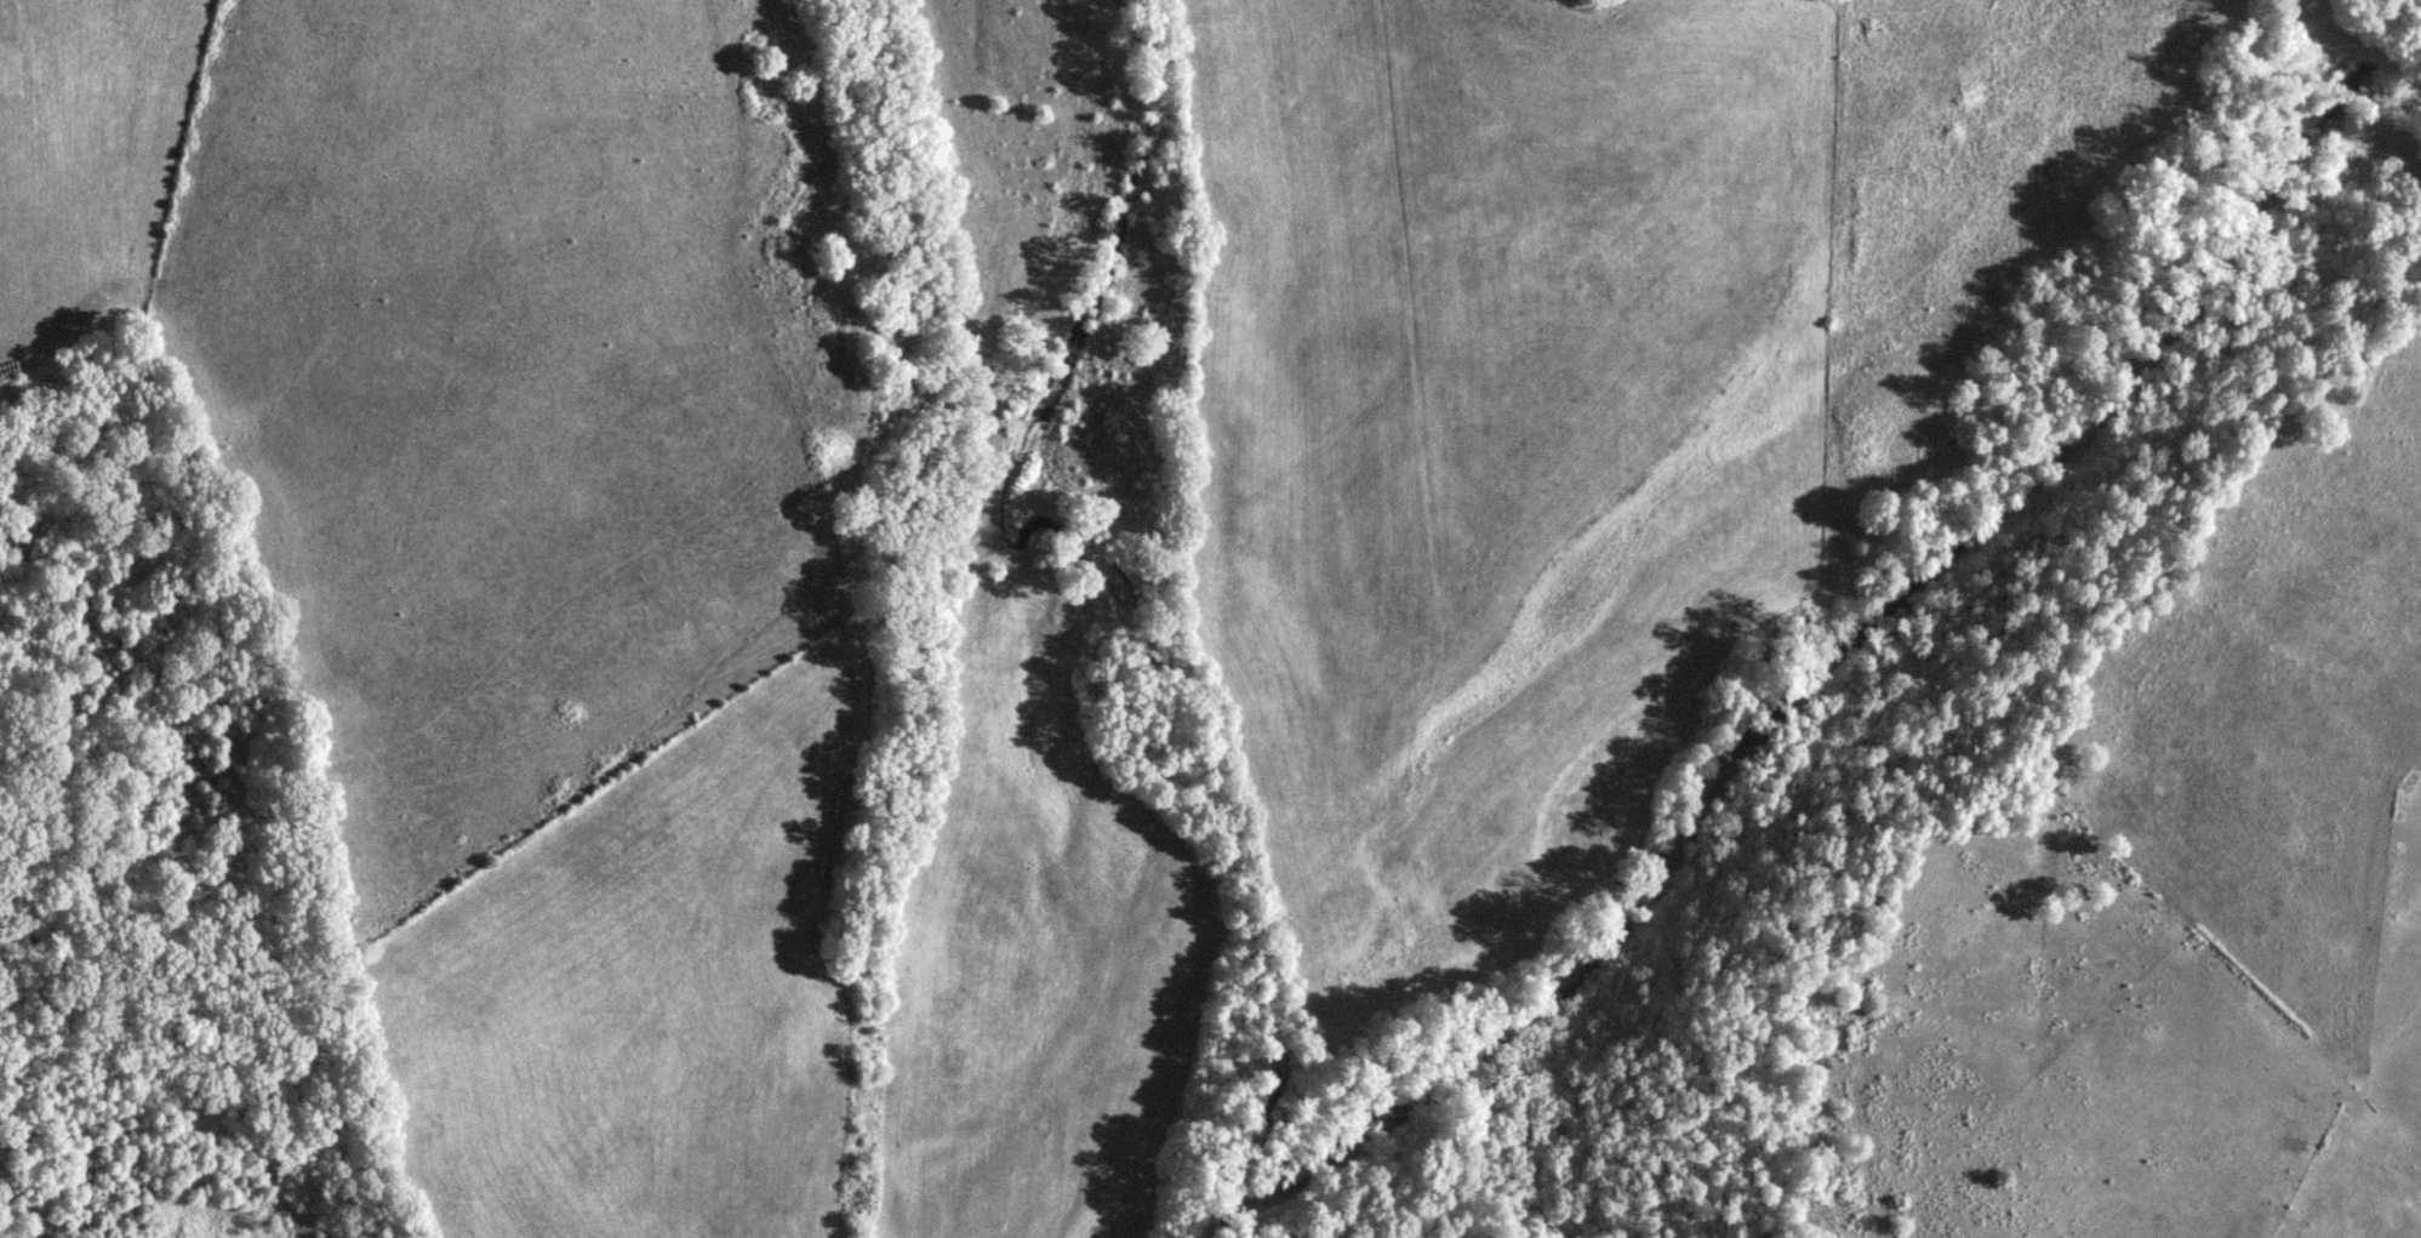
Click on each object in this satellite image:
road: (2347, 42)

